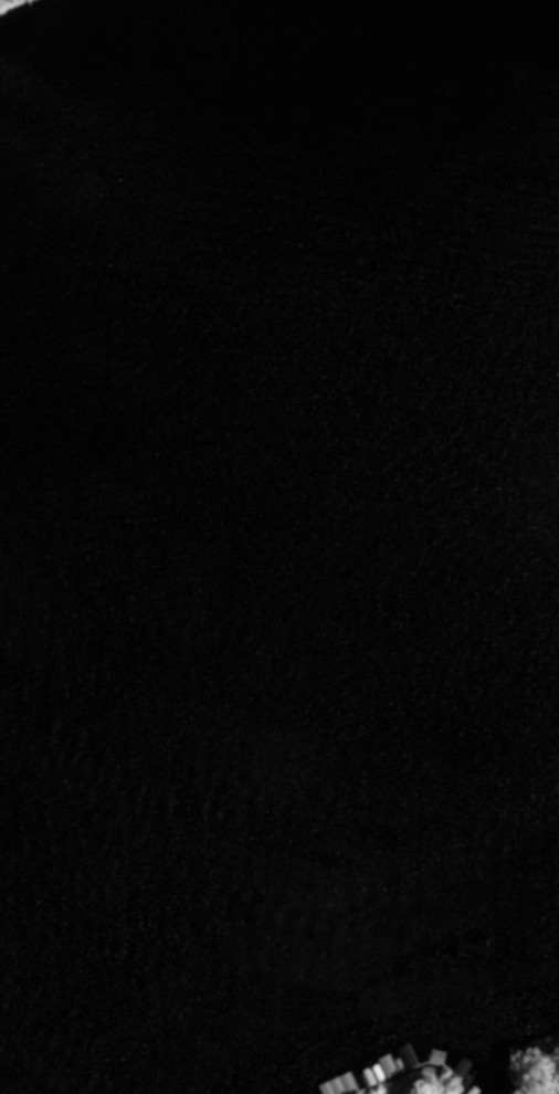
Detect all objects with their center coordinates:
river: (298, 596)
building: (337, 1084)

